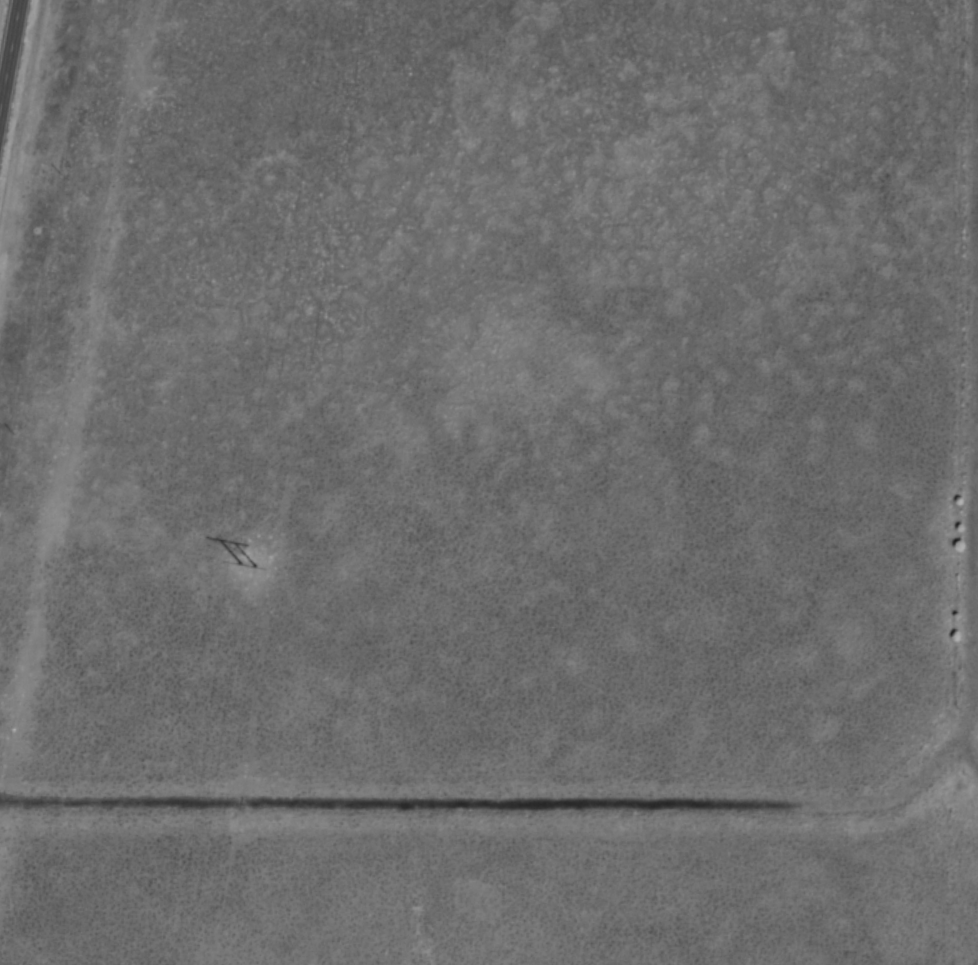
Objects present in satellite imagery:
road: (10, 55)
power tower: (240, 561)

